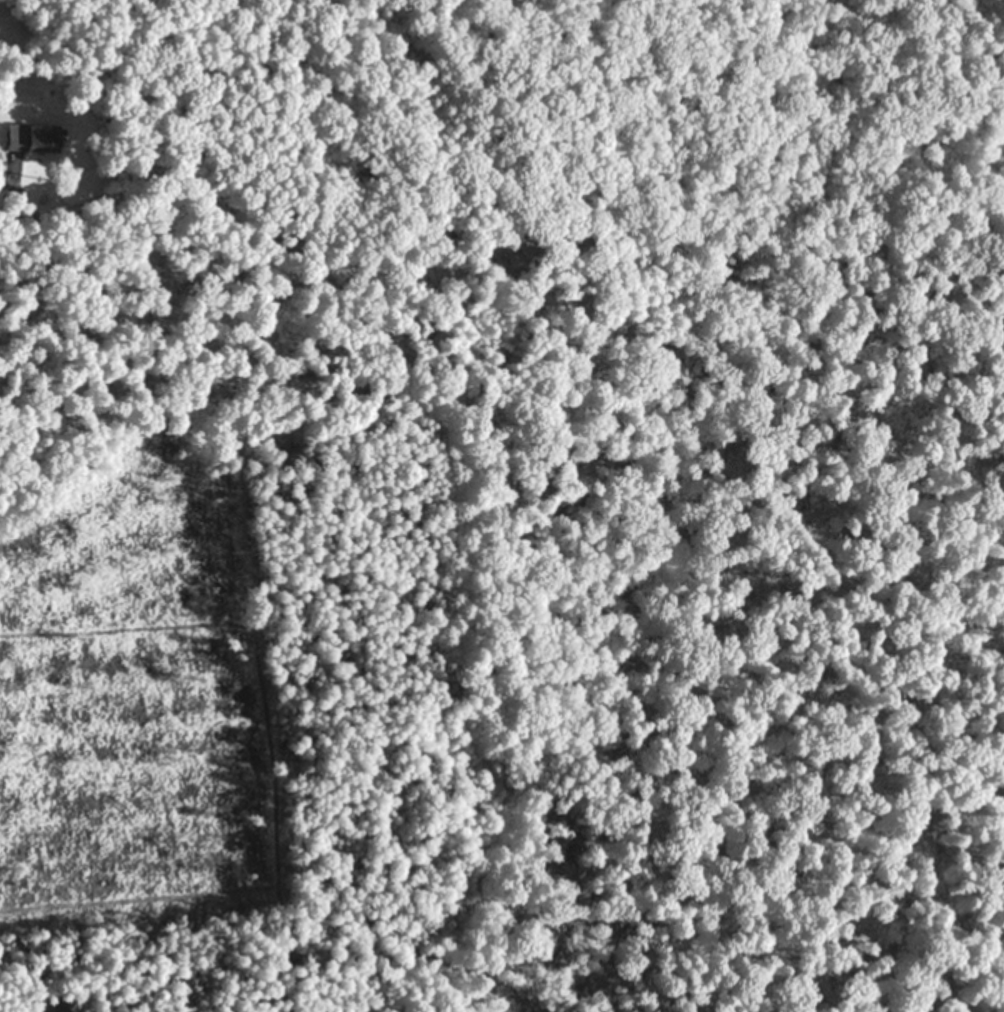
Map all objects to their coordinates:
building: (37, 140)

